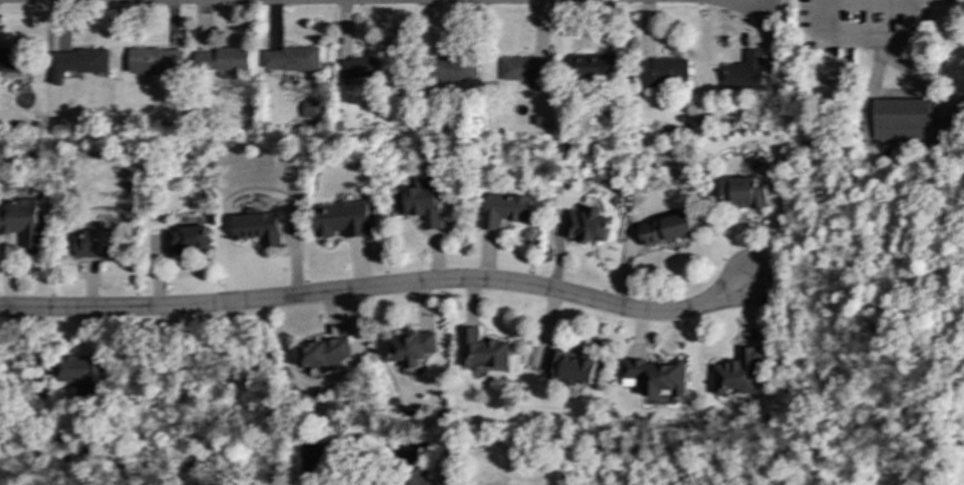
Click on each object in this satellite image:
road: (866, 4)
parking lot: (864, 24)
building: (13, 59)
building: (153, 59)
building: (223, 59)
building: (291, 59)
building: (80, 62)
building: (360, 67)
building: (593, 67)
building: (454, 69)
building: (524, 69)
building: (662, 71)
building: (748, 71)
building: (310, 109)
building: (902, 119)
building: (743, 193)
building: (418, 205)
building: (505, 209)
building: (340, 219)
park: (880, 222)
building: (22, 224)
building: (586, 226)
building: (257, 227)
building: (665, 228)
building: (186, 239)
building: (95, 242)
road: (381, 286)
building: (412, 347)
building: (480, 350)
building: (323, 352)
building: (570, 368)
building: (739, 372)
building: (82, 373)
building: (655, 376)
road: (342, 440)
building: (416, 478)

